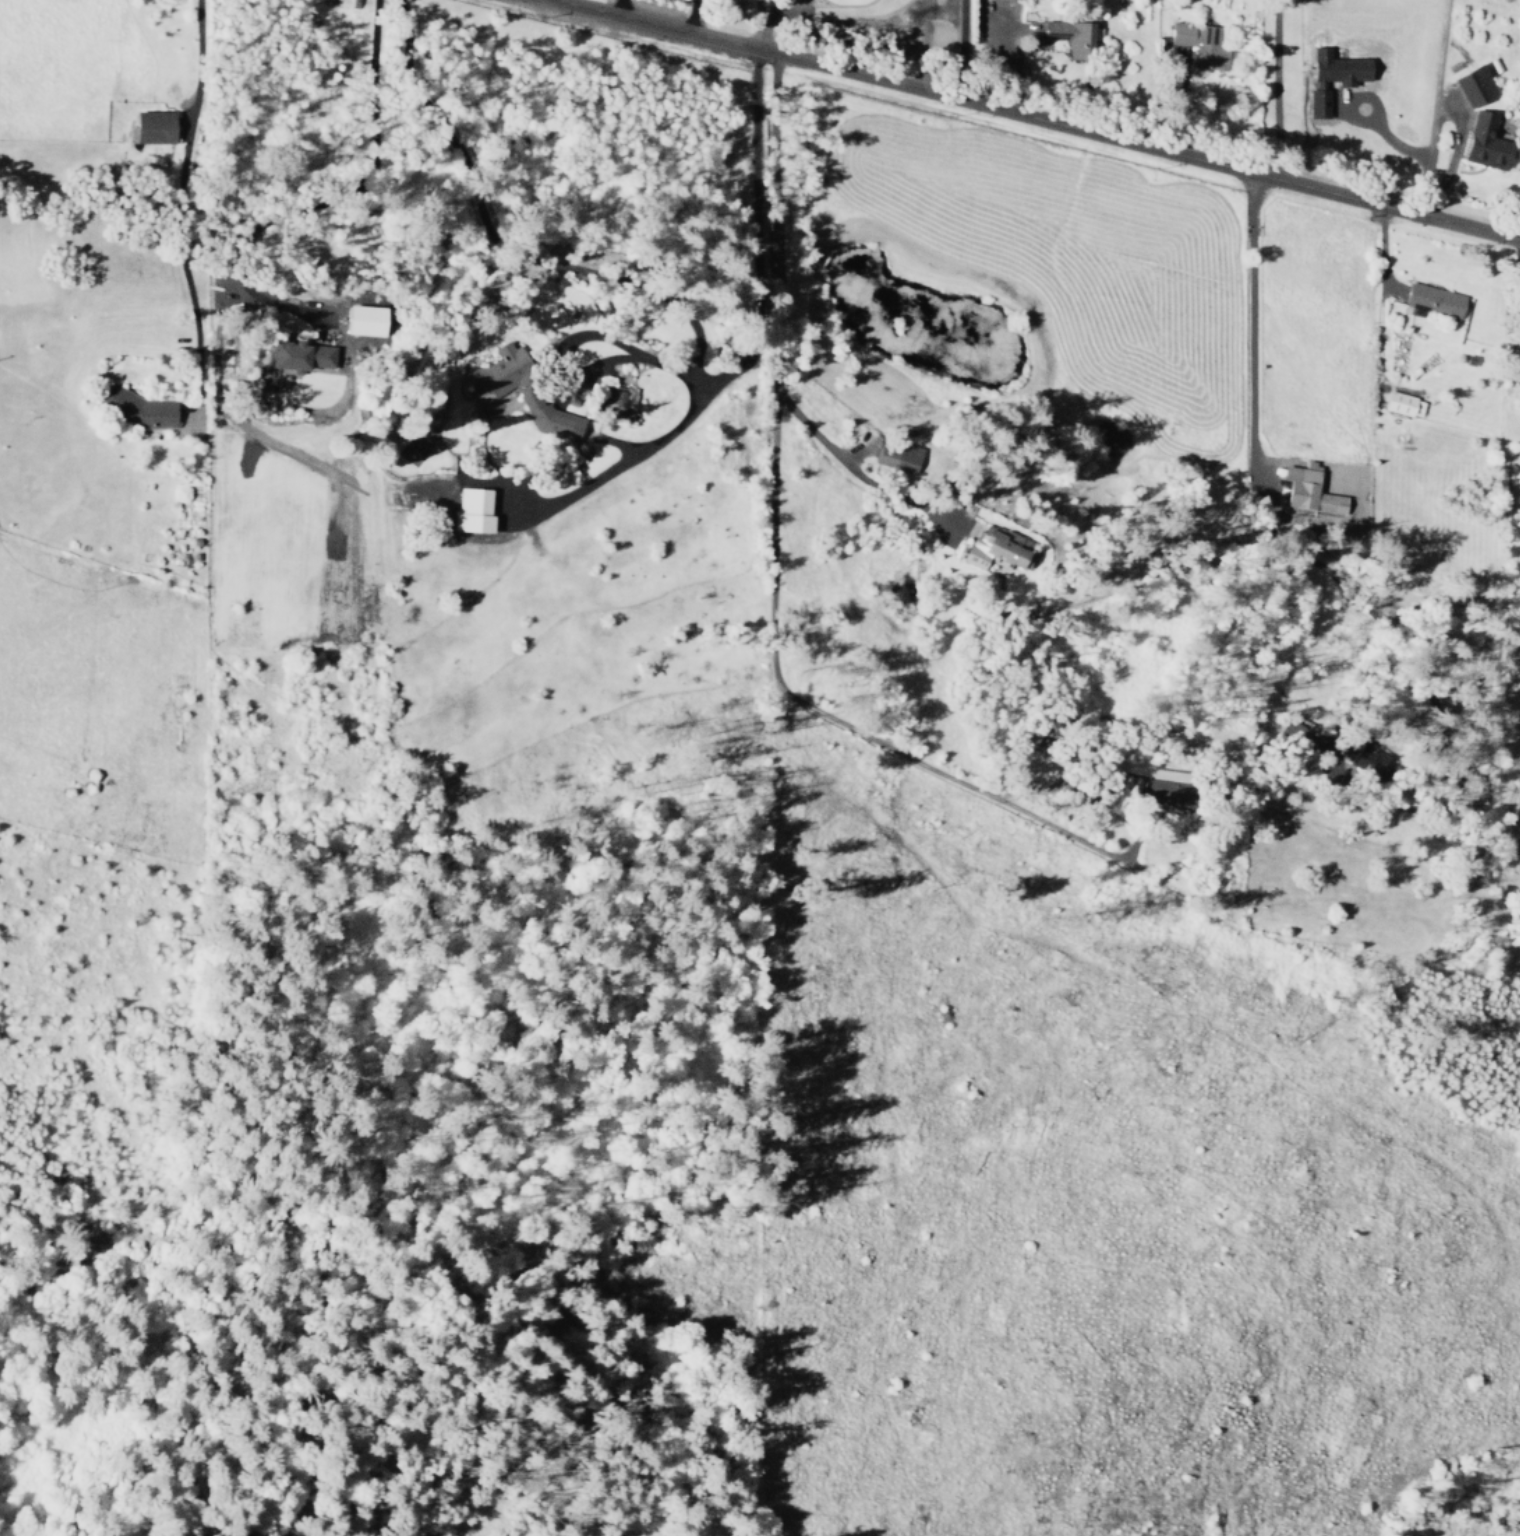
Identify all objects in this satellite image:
building: (1071, 36)
building: (1201, 44)
building: (1338, 68)
building: (1476, 84)
building: (1317, 102)
road: (1034, 120)
building: (152, 127)
building: (1487, 143)
road: (775, 289)
building: (1434, 300)
building: (365, 320)
road: (1248, 329)
building: (299, 355)
building: (521, 391)
building: (1403, 404)
building: (136, 406)
building: (896, 454)
building: (1309, 490)
building: (473, 510)
building: (1362, 760)
building: (1167, 787)

